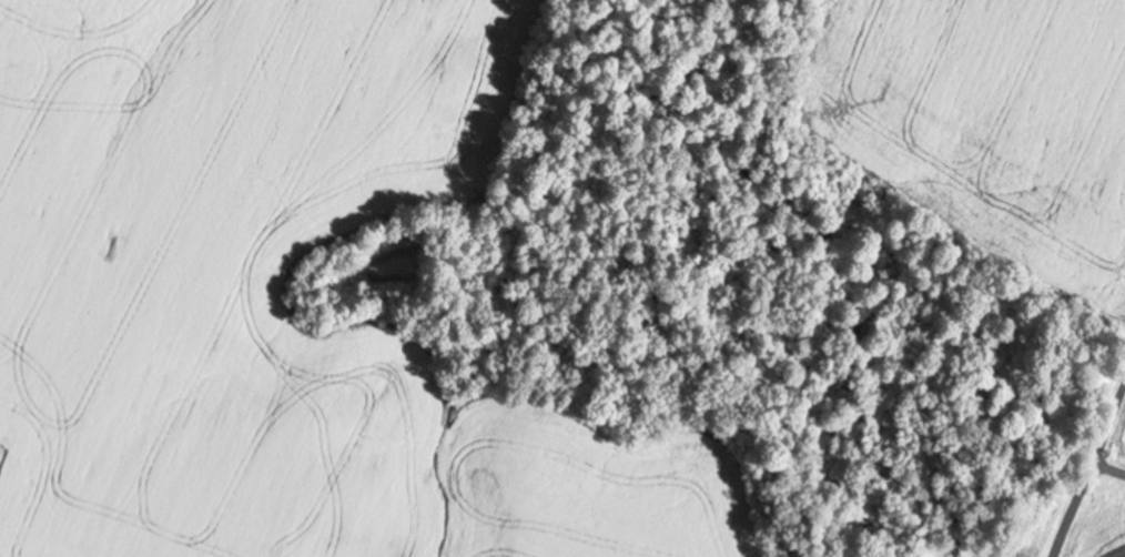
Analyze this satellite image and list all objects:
road: (1109, 469)
road: (1091, 472)
road: (1118, 554)

